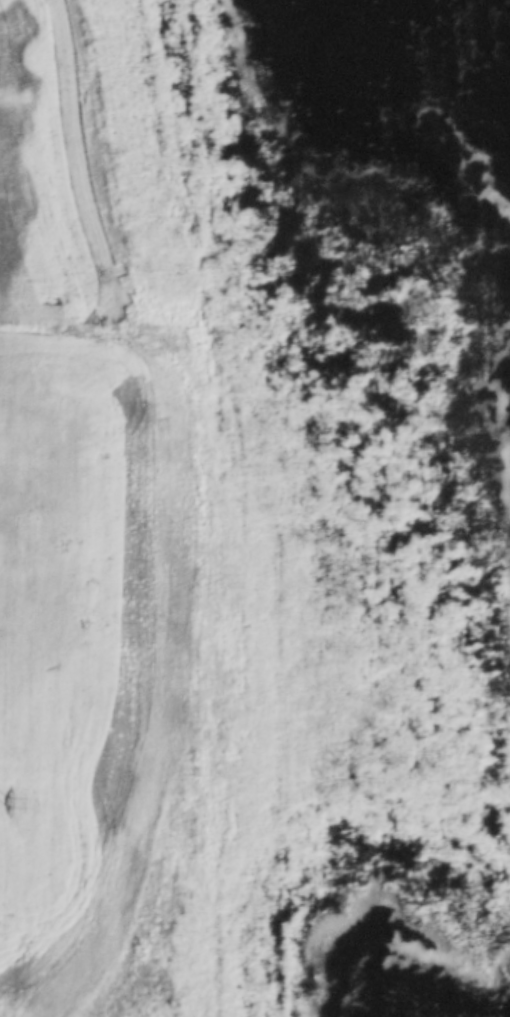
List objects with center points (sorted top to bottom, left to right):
power tower: (6, 800)

